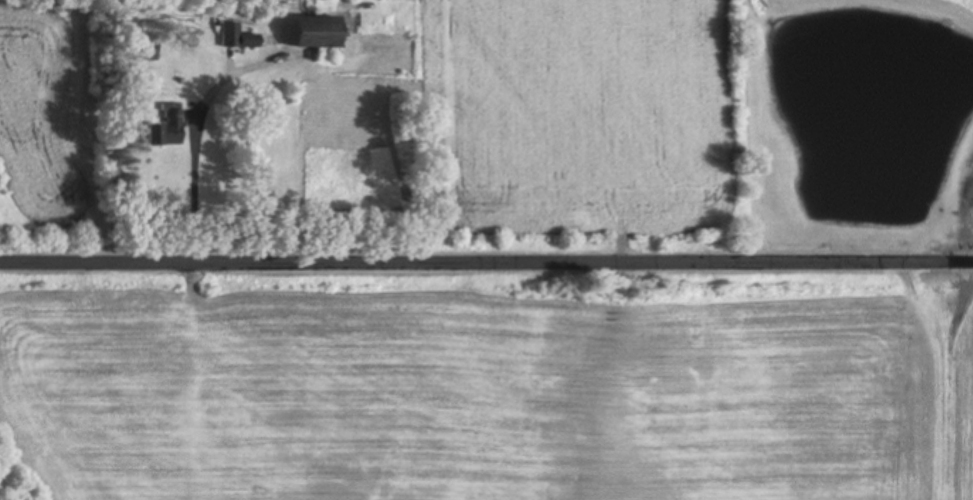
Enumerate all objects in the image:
building: (326, 33)
building: (229, 34)
building: (168, 126)
road: (190, 184)
road: (486, 254)

